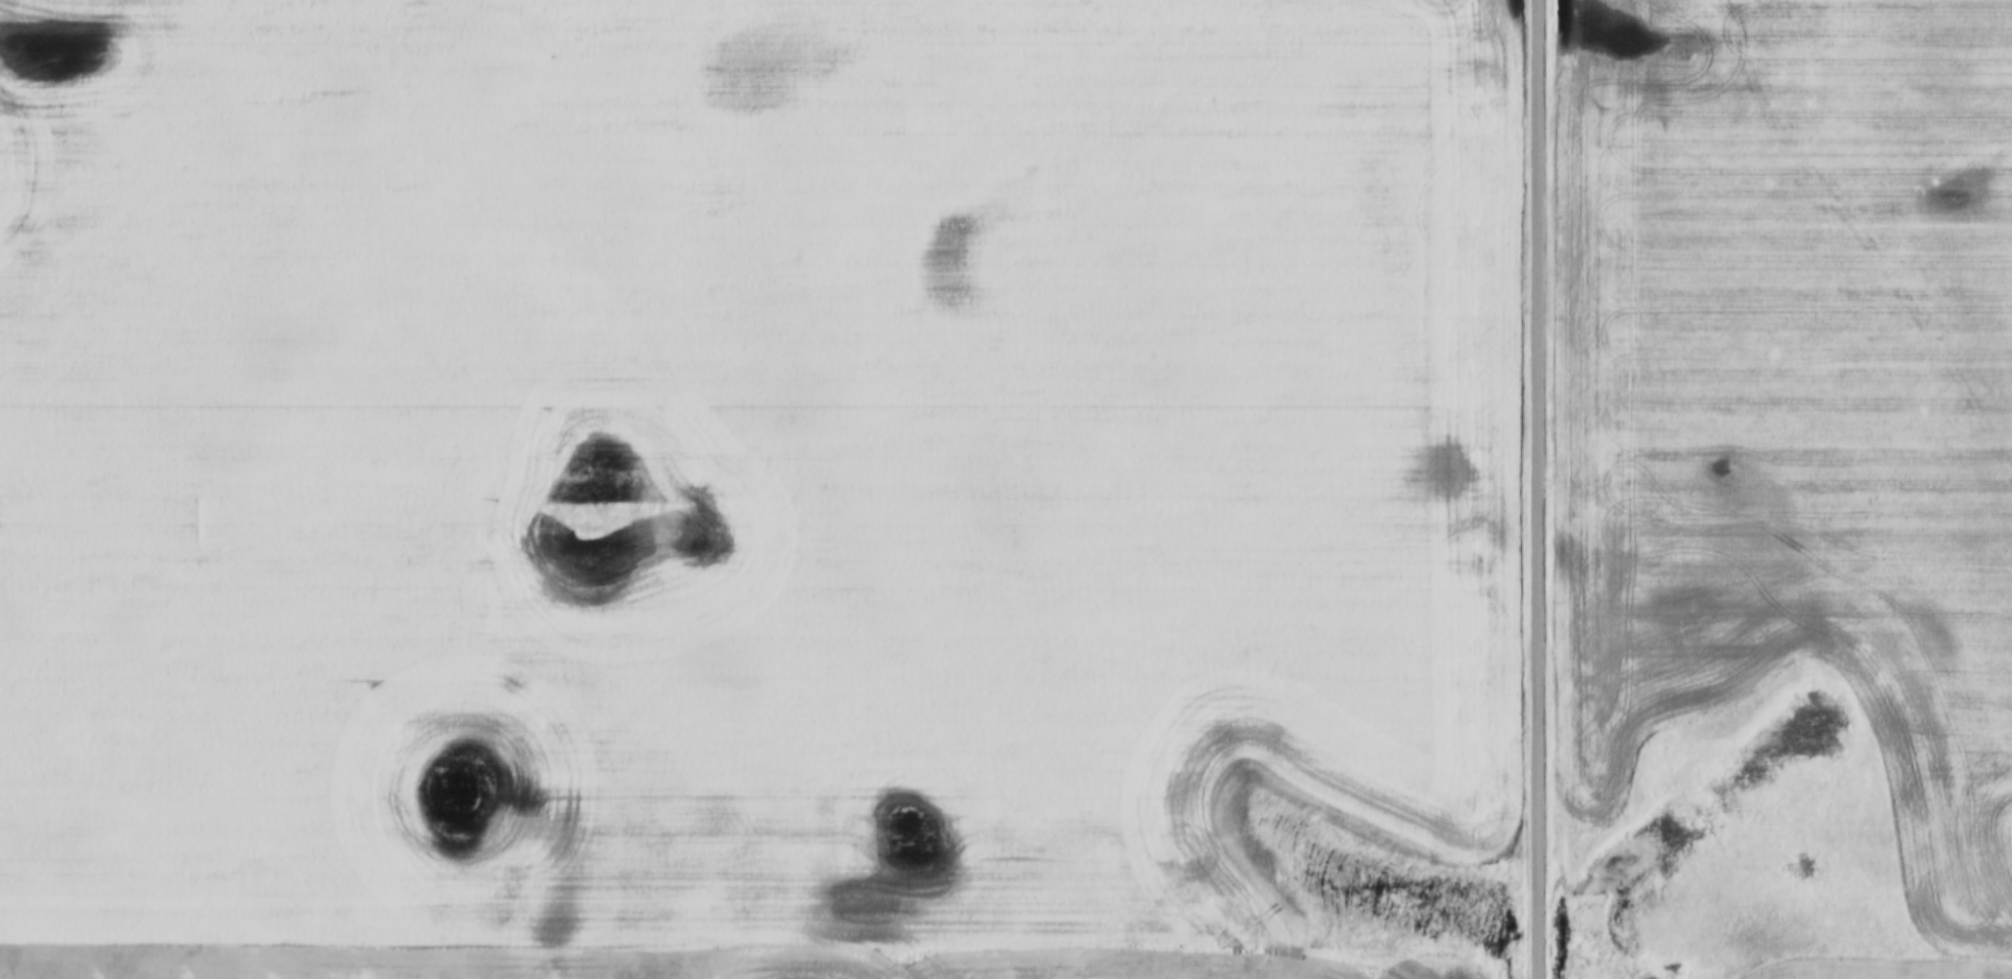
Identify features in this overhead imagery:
road: (1542, 489)

